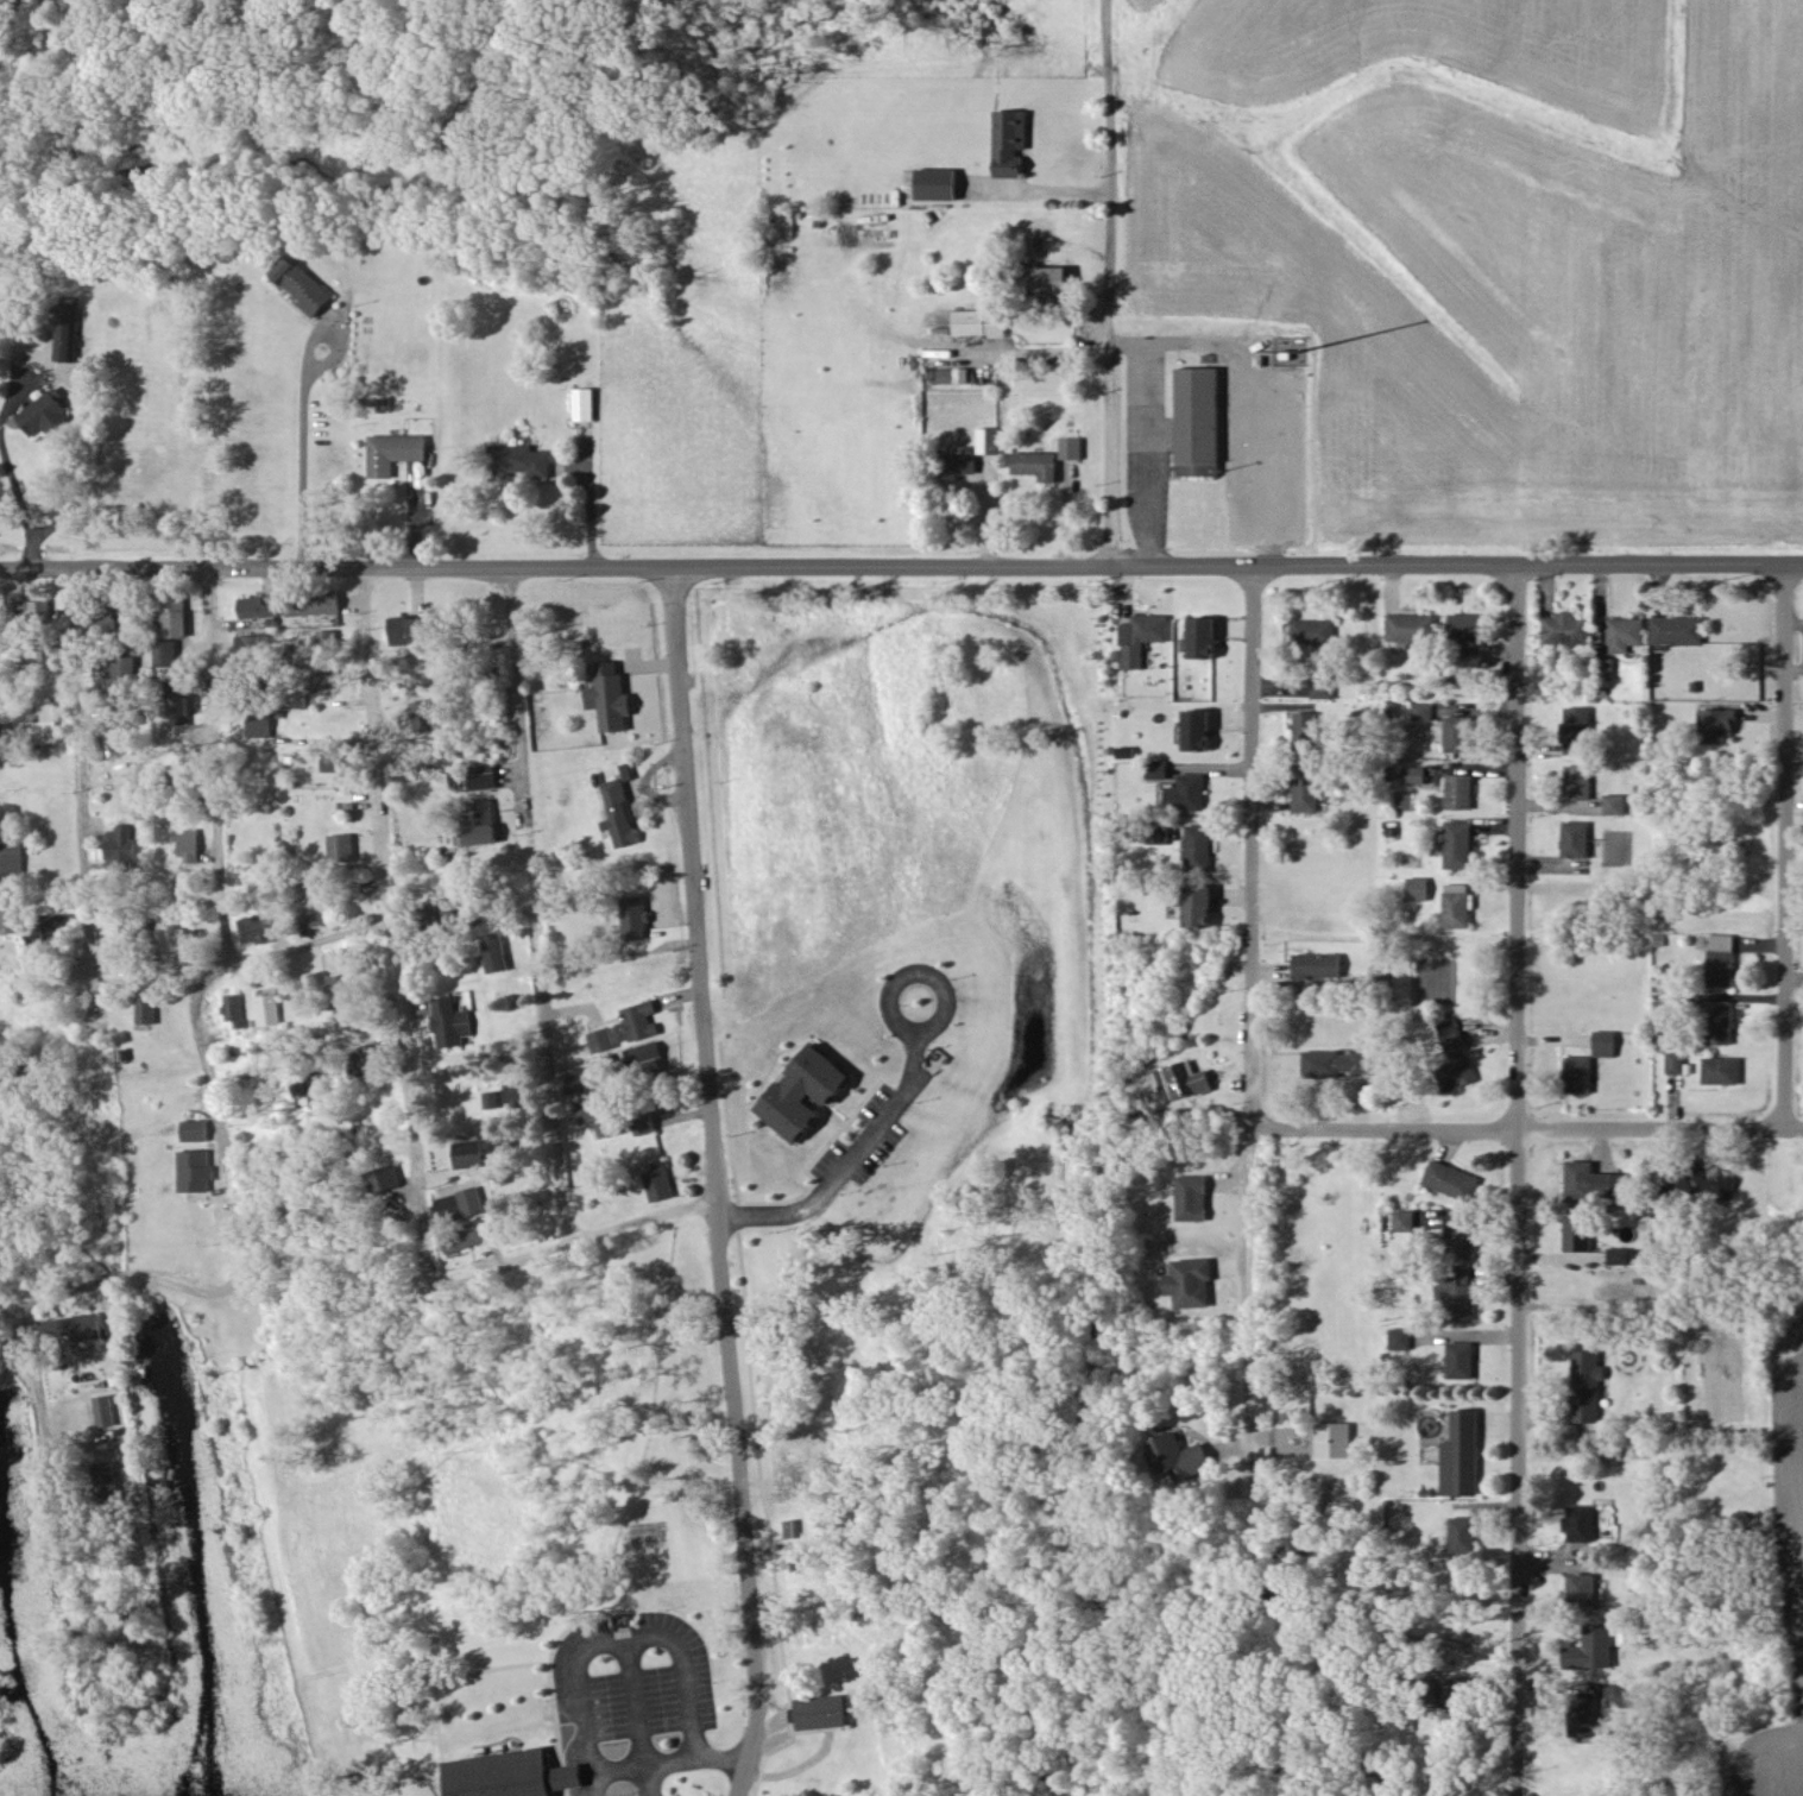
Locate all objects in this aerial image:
building: (1009, 141)
building: (937, 183)
road: (1052, 189)
building: (1048, 282)
road: (1111, 282)
building: (300, 284)
building: (979, 321)
building: (67, 332)
building: (951, 374)
building: (582, 403)
road: (1254, 408)
building: (44, 412)
building: (1197, 421)
road: (81, 423)
road: (1148, 436)
building: (988, 440)
building: (1071, 447)
building: (393, 452)
road: (302, 456)
building: (962, 459)
building: (519, 460)
building: (1036, 464)
road: (12, 491)
road: (584, 509)
road: (24, 549)
road: (901, 567)
building: (316, 603)
building: (259, 607)
building: (29, 612)
building: (175, 615)
building: (108, 616)
building: (1411, 626)
building: (1464, 626)
building: (410, 629)
building: (1566, 629)
building: (1678, 630)
building: (1313, 631)
building: (1625, 634)
building: (1141, 637)
building: (1202, 637)
building: (327, 639)
building: (253, 643)
building: (166, 653)
building: (1471, 657)
building: (1608, 668)
building: (124, 673)
building: (322, 678)
building: (1323, 686)
building: (609, 697)
building: (181, 706)
building: (1423, 711)
building: (417, 717)
building: (46, 721)
building: (260, 723)
building: (1717, 725)
building: (1197, 729)
building: (1306, 730)
building: (1577, 730)
building: (1457, 732)
building: (336, 761)
road: (209, 763)
building: (1156, 769)
building: (1414, 774)
building: (481, 775)
building: (1577, 781)
building: (1307, 788)
building: (1460, 790)
building: (1186, 793)
building: (1614, 804)
building: (618, 813)
building: (479, 821)
road: (76, 828)
building: (1159, 832)
building: (1575, 838)
building: (1458, 844)
road: (1783, 844)
building: (190, 845)
building: (341, 845)
building: (1199, 845)
building: (120, 846)
road: (1252, 847)
building: (11, 857)
building: (1418, 888)
road: (534, 905)
building: (1199, 905)
building: (1457, 906)
building: (442, 910)
building: (313, 913)
building: (8, 916)
building: (633, 918)
road: (385, 925)
building: (253, 929)
road: (301, 945)
building: (494, 952)
building: (1720, 959)
building: (1317, 964)
building: (341, 989)
building: (233, 1008)
building: (145, 1009)
building: (267, 1009)
building: (637, 1021)
building: (1719, 1021)
building: (450, 1022)
building: (1451, 1035)
building: (601, 1039)
building: (1603, 1042)
building: (644, 1057)
building: (371, 1060)
building: (1675, 1063)
building: (1337, 1064)
building: (1720, 1070)
building: (1456, 1073)
building: (1578, 1073)
building: (1184, 1079)
building: (576, 1080)
road: (143, 1083)
building: (308, 1084)
building: (803, 1090)
building: (491, 1098)
building: (599, 1115)
building: (643, 1122)
road: (1527, 1127)
building: (194, 1129)
road: (219, 1146)
road: (859, 1148)
building: (469, 1153)
building: (194, 1170)
building: (384, 1177)
building: (660, 1180)
building: (1451, 1180)
road: (1518, 1180)
building: (1593, 1180)
building: (1704, 1180)
road: (718, 1184)
building: (1192, 1197)
building: (472, 1199)
building: (1404, 1220)
building: (1577, 1234)
building: (465, 1236)
building: (1460, 1239)
building: (1624, 1254)
road: (472, 1267)
road: (132, 1272)
building: (1191, 1283)
road: (1246, 1287)
building: (1456, 1293)
road: (12, 1299)
building: (74, 1328)
building: (1399, 1337)
building: (1460, 1360)
building: (1585, 1386)
building: (103, 1410)
building: (1334, 1439)
building: (1461, 1455)
building: (1178, 1456)
building: (106, 1482)
road: (55, 1485)
building: (1580, 1523)
road: (272, 1533)
building: (1463, 1535)
building: (1582, 1592)
building: (1590, 1649)
road: (686, 1669)
road: (584, 1687)
building: (1626, 1694)
road: (635, 1701)
building: (1458, 1701)
building: (820, 1712)
building: (1583, 1714)
road: (723, 1757)
road: (670, 1760)
road: (619, 1769)
building: (512, 1775)
road: (651, 1781)
road: (595, 1784)

